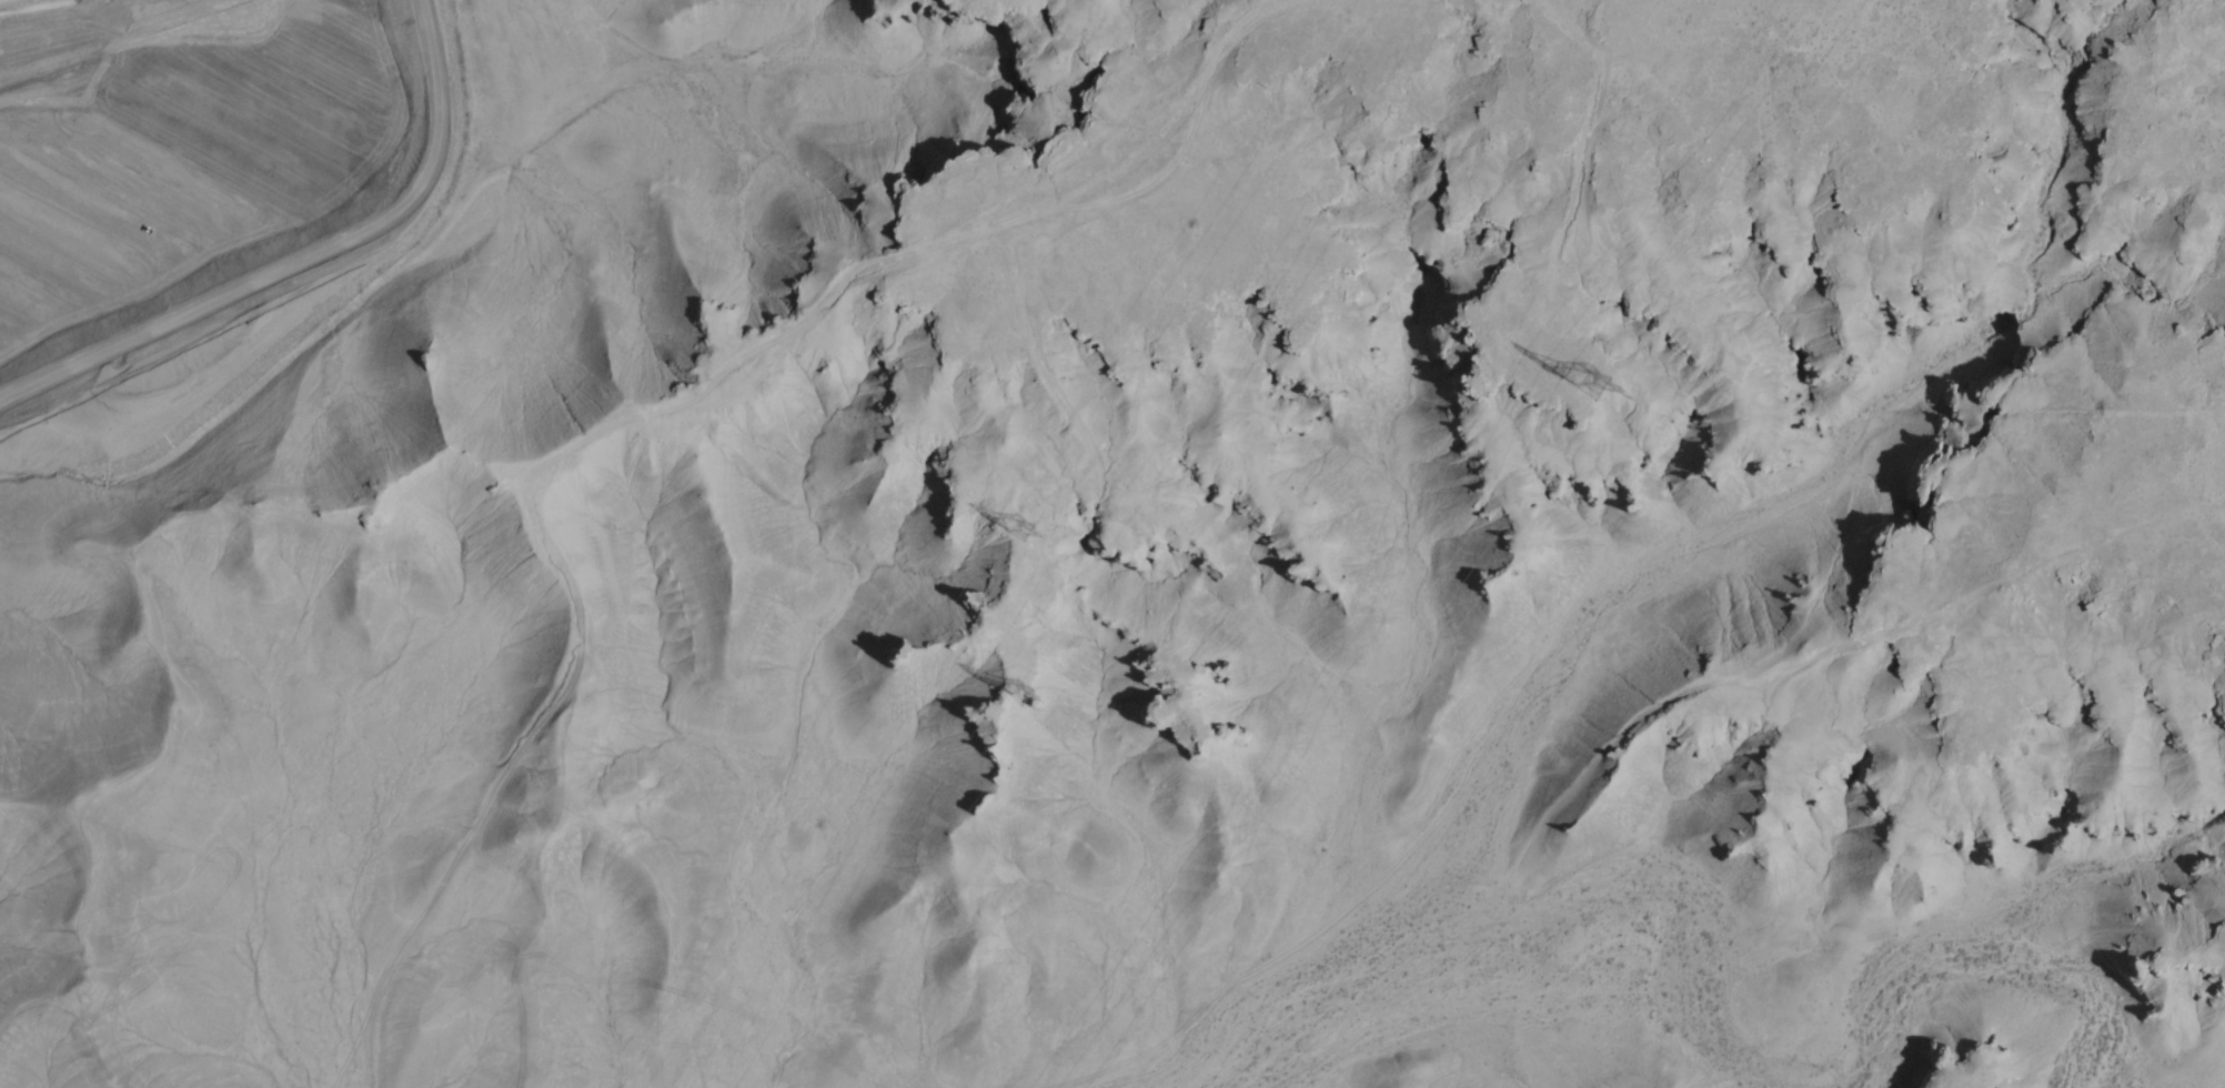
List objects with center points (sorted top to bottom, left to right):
power tower: (1588, 370)
power tower: (1027, 525)
power tower: (1034, 694)

